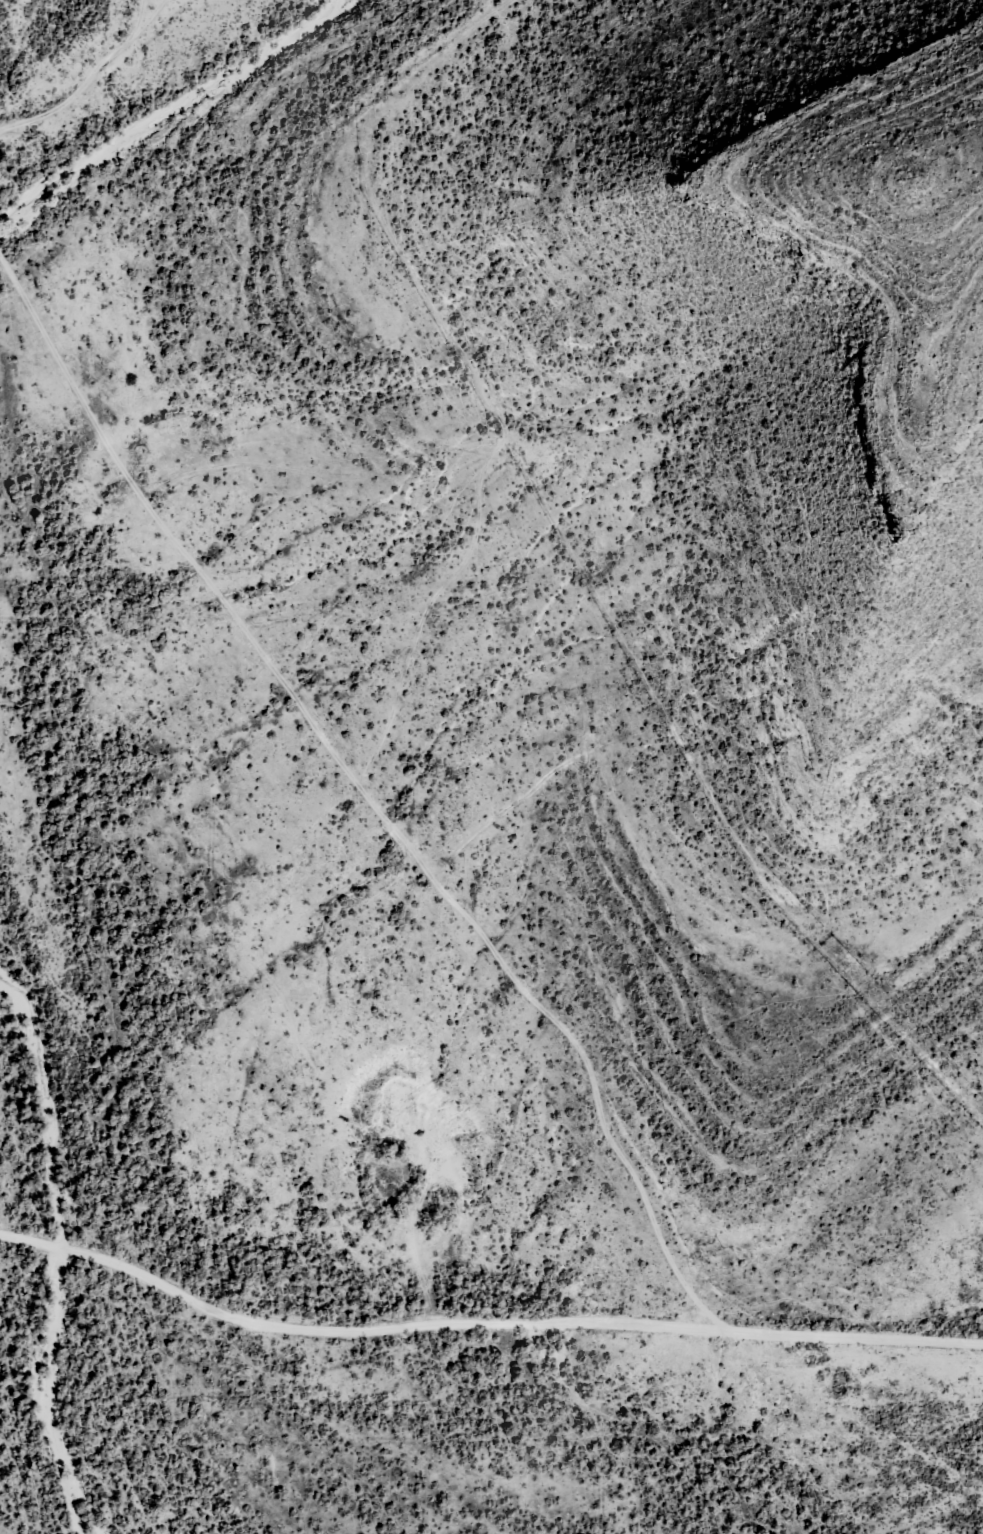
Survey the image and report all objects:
road: (102, 70)
road: (361, 802)
road: (484, 1343)

